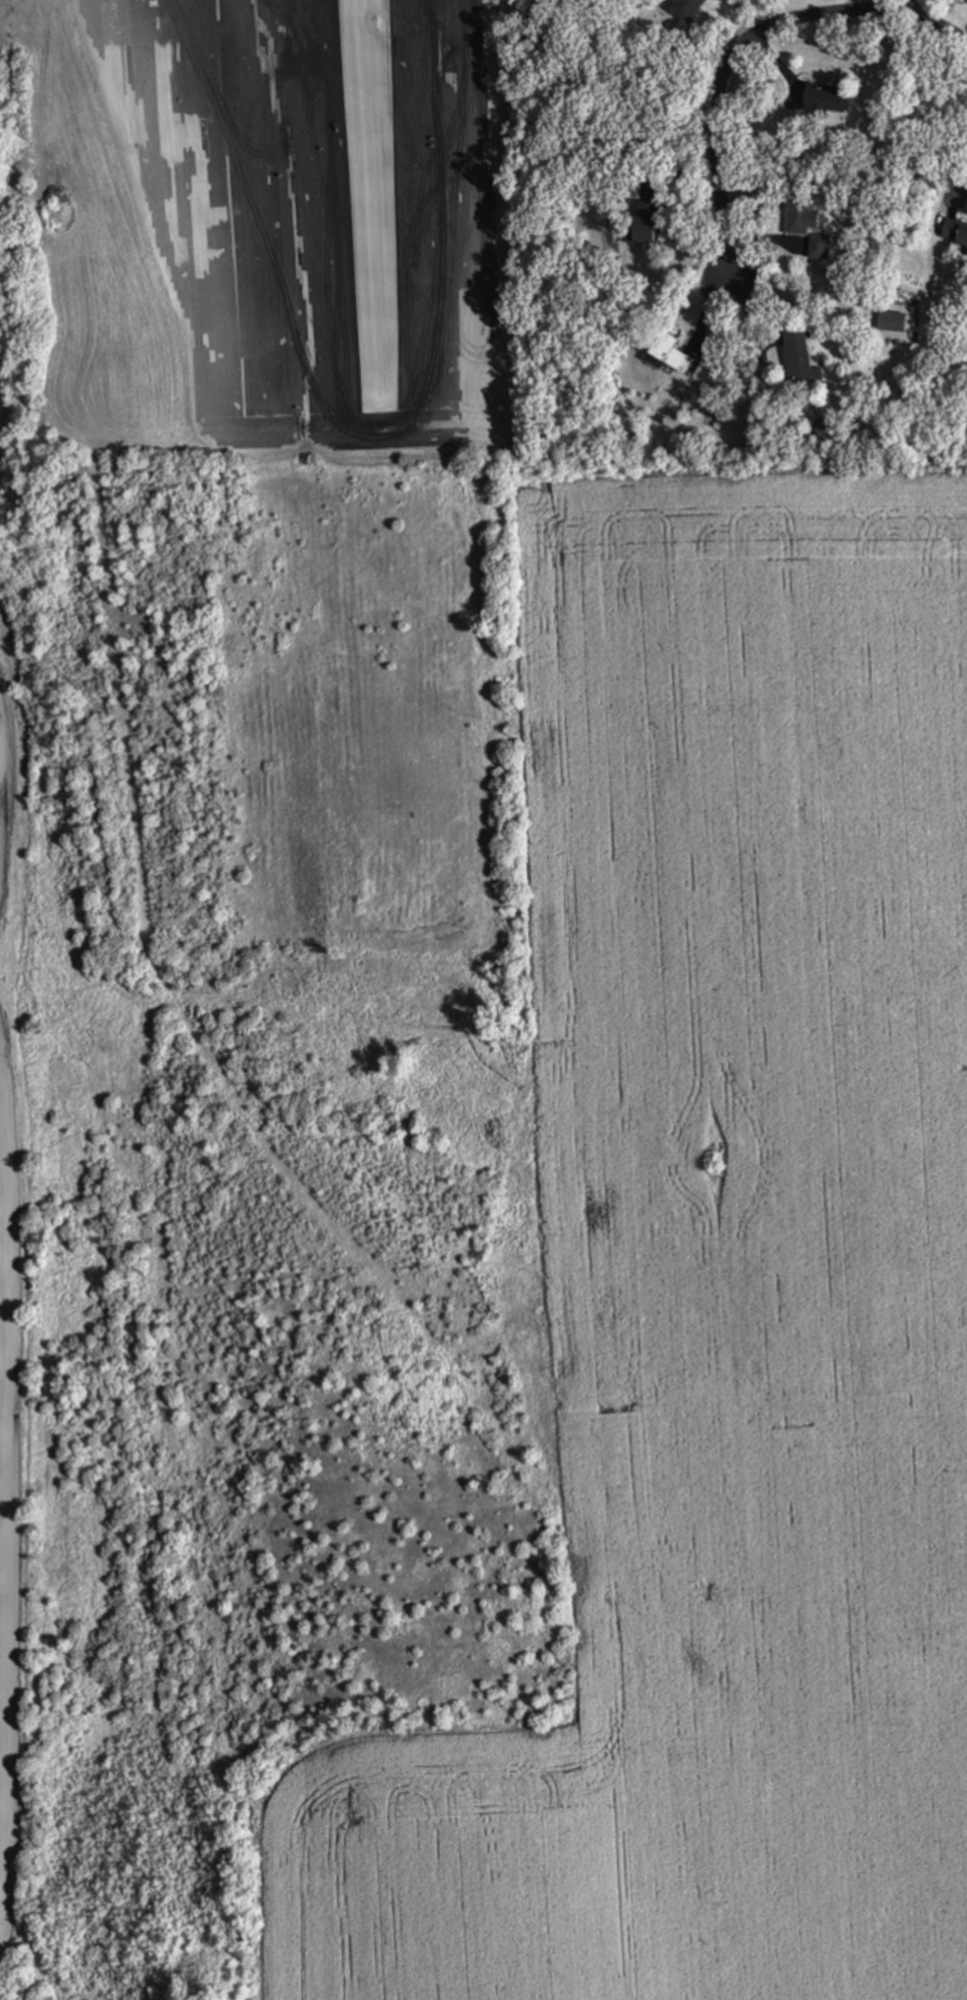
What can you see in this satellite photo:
building: (688, 9)
road: (744, 45)
building: (825, 99)
road: (964, 189)
building: (801, 219)
building: (645, 227)
building: (954, 233)
building: (819, 248)
building: (892, 322)
building: (670, 355)
building: (798, 356)
building: (823, 430)

